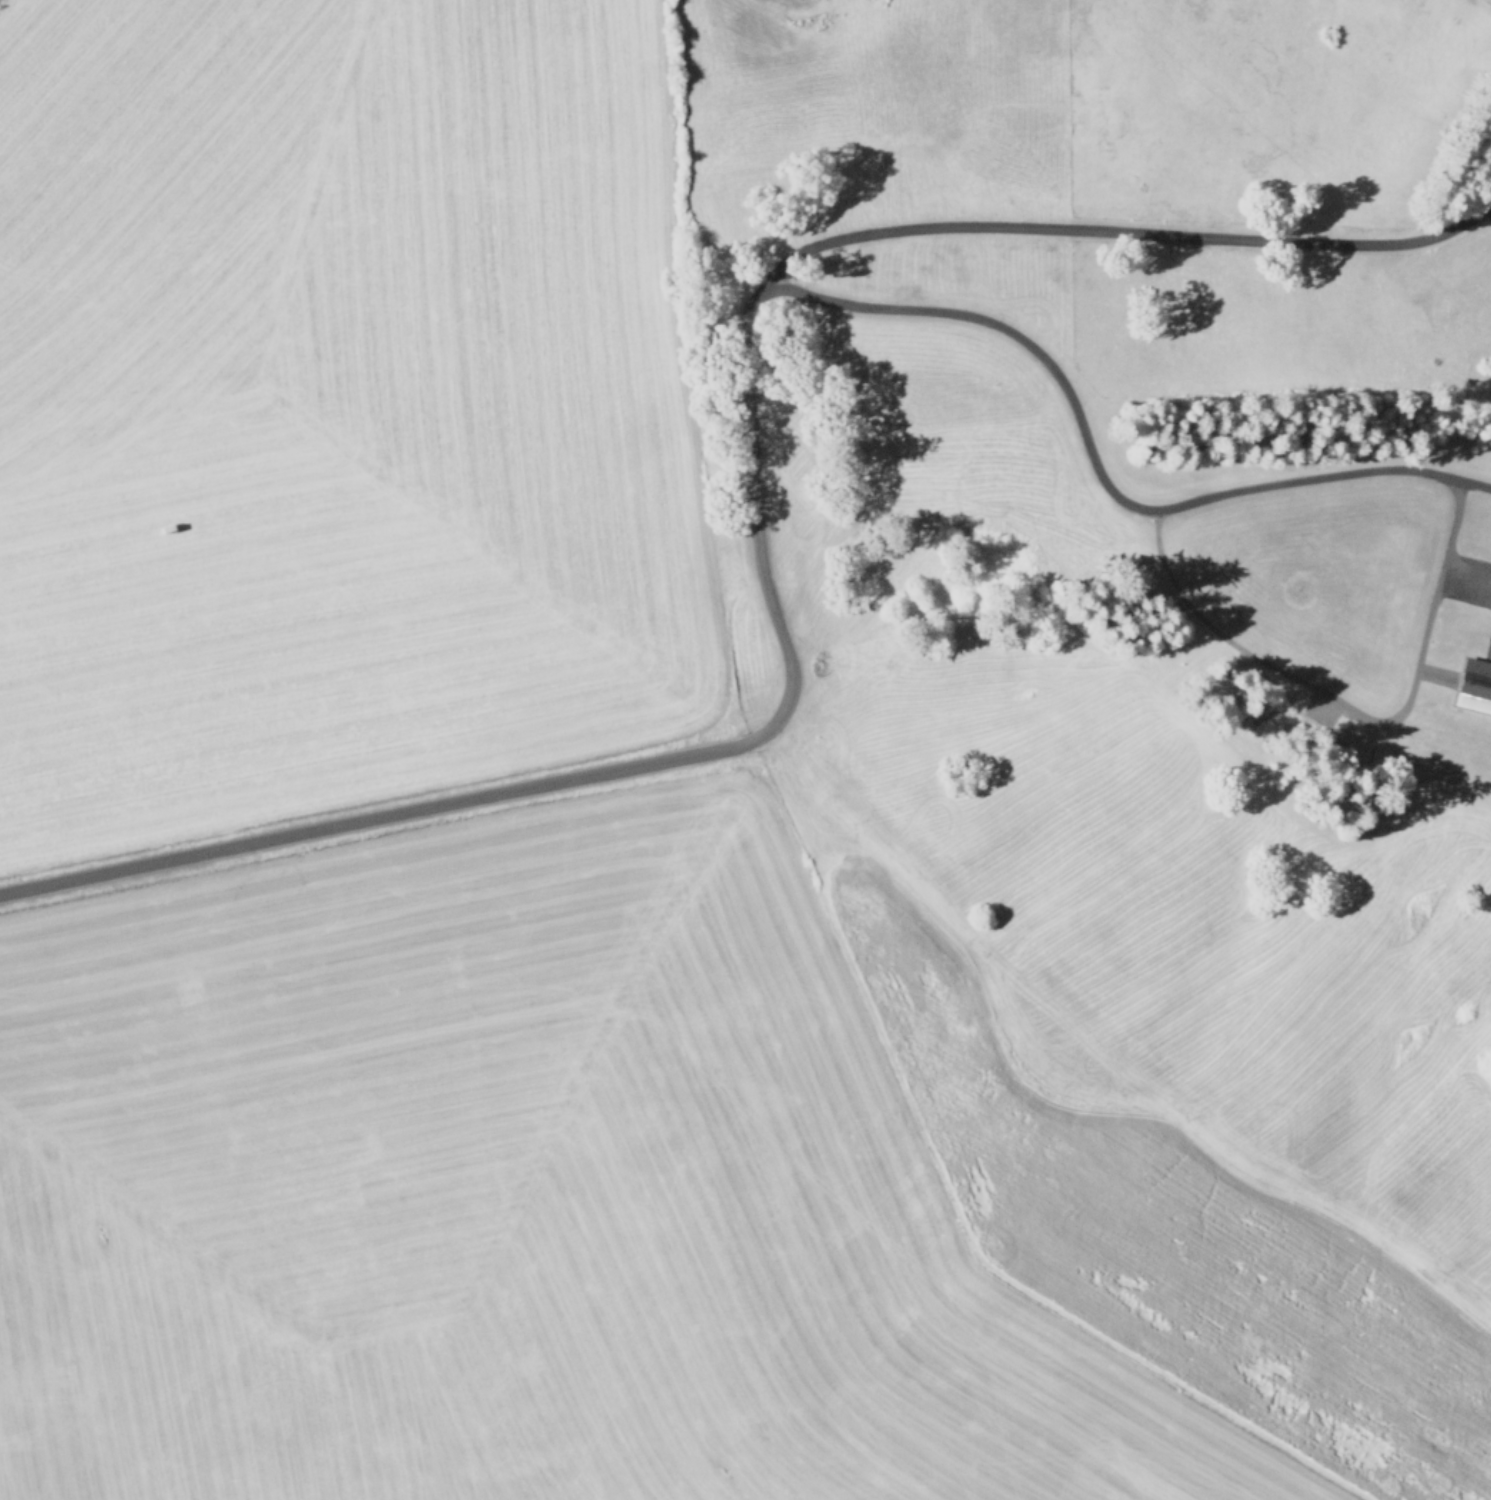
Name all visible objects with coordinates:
road: (1128, 230)
road: (750, 445)
crop: (586, 801)

